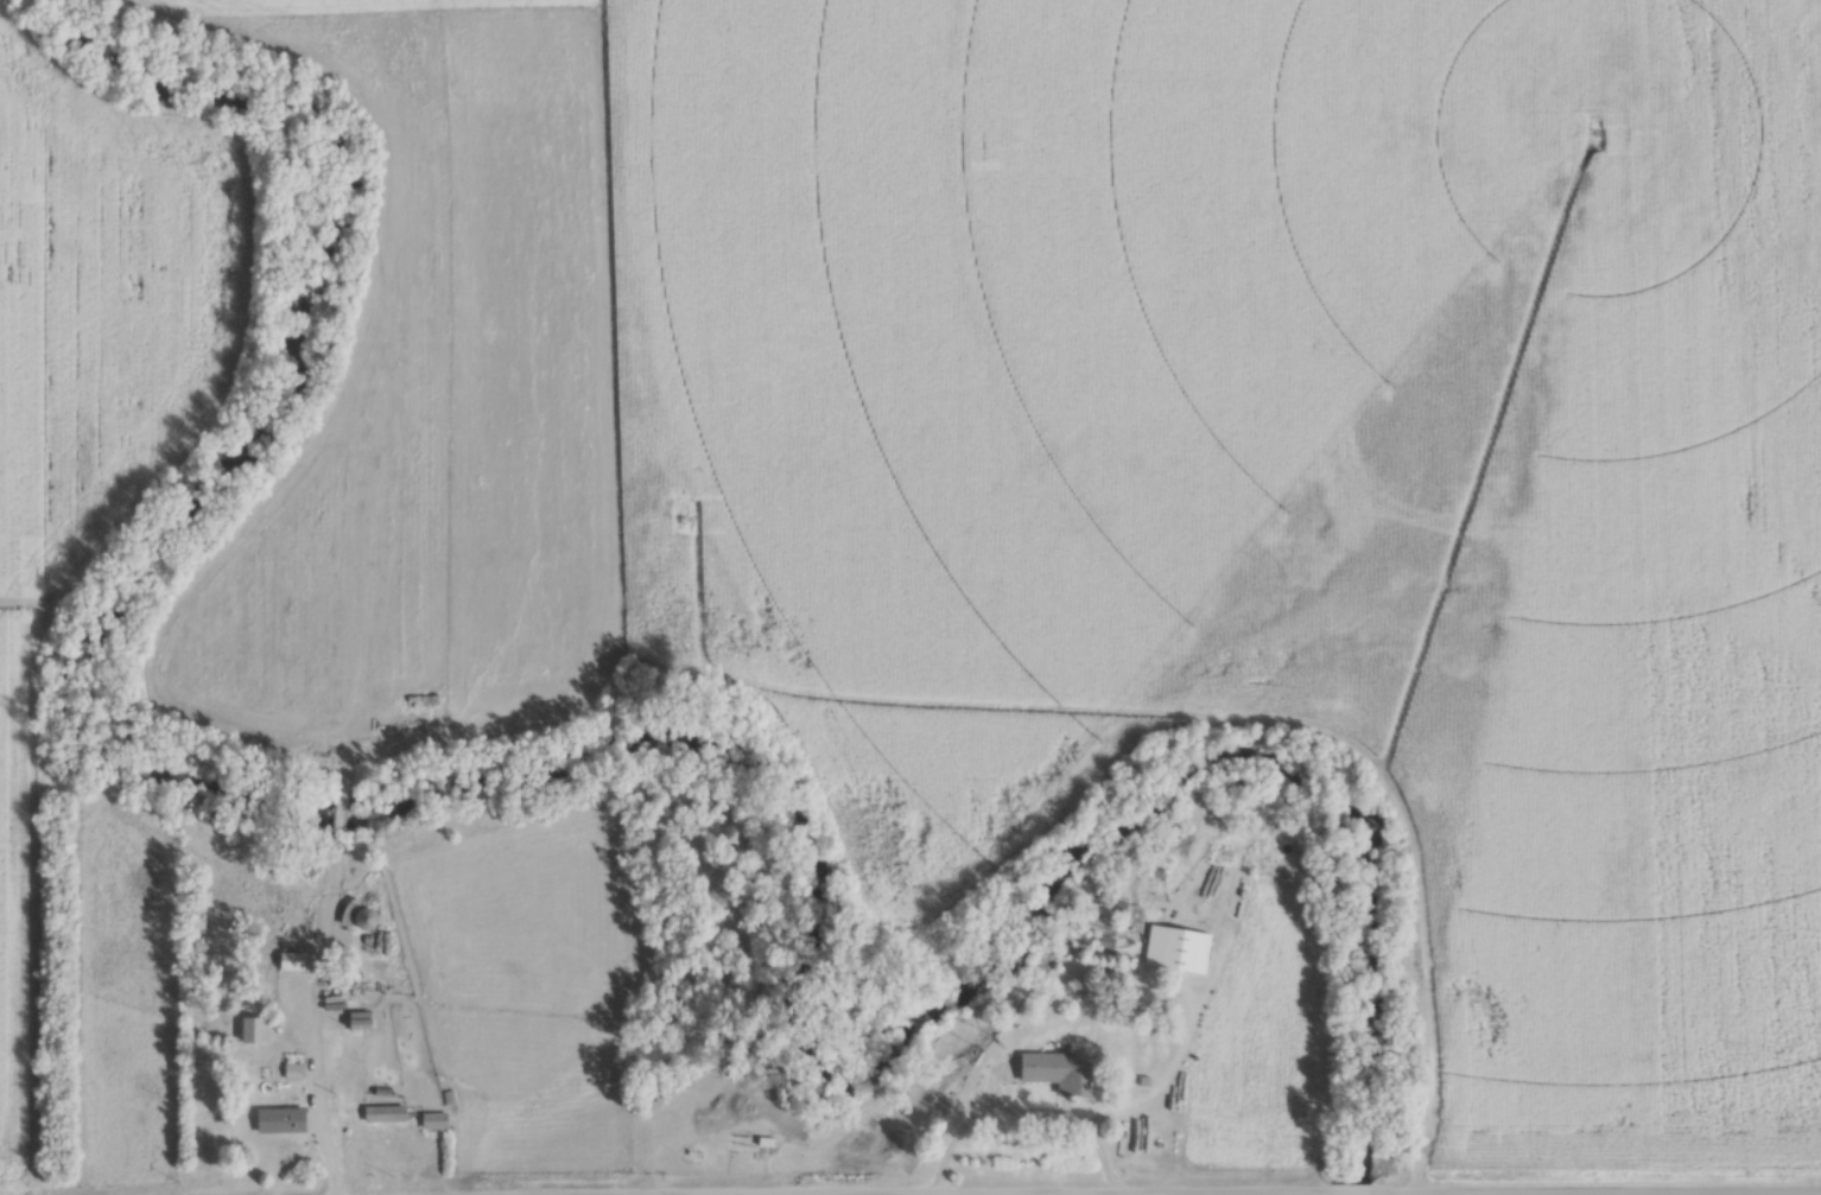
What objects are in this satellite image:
building: (363, 921)
building: (1184, 952)
building: (290, 962)
building: (253, 1032)
building: (1058, 1073)
road: (318, 1085)
road: (1026, 1108)
building: (383, 1115)
building: (279, 1121)
building: (432, 1121)
road: (1225, 1194)

